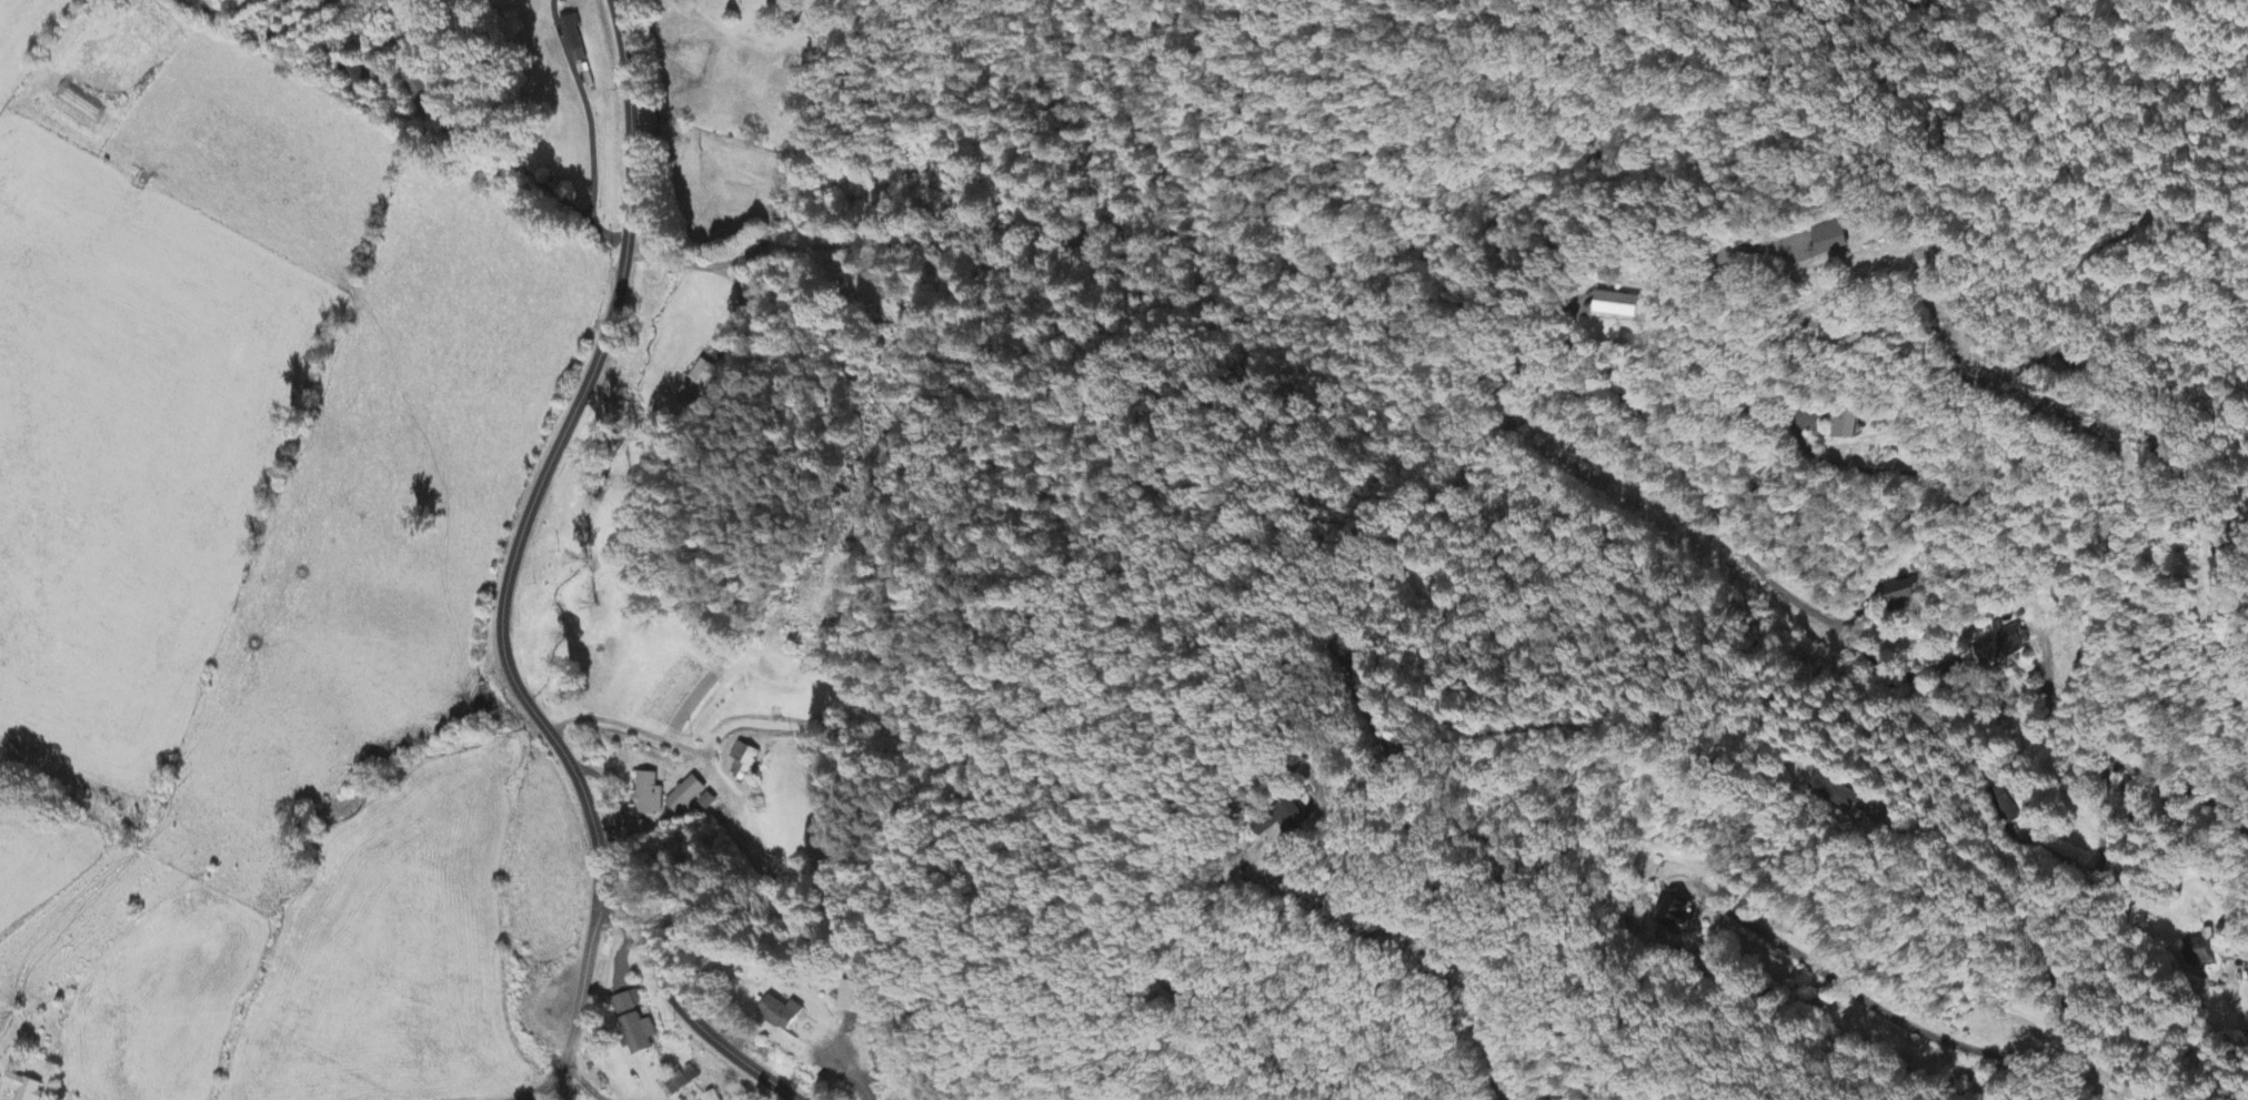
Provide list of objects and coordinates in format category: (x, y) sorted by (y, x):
building: (573, 40)
building: (418, 88)
building: (79, 105)
road: (784, 194)
road: (1080, 236)
building: (1835, 240)
building: (1619, 306)
building: (699, 381)
building: (1846, 426)
building: (2227, 569)
road: (504, 588)
building: (1904, 595)
building: (1995, 646)
road: (1884, 667)
building: (743, 763)
building: (1833, 795)
building: (648, 796)
building: (684, 797)
building: (705, 803)
building: (2001, 805)
road: (2097, 877)
building: (1674, 915)
road: (2125, 941)
road: (1346, 945)
building: (2199, 950)
building: (854, 1001)
building: (626, 1003)
road: (575, 1006)
building: (781, 1015)
building: (638, 1035)
road: (1964, 1047)
building: (678, 1083)
building: (22, 1088)
building: (710, 1097)

